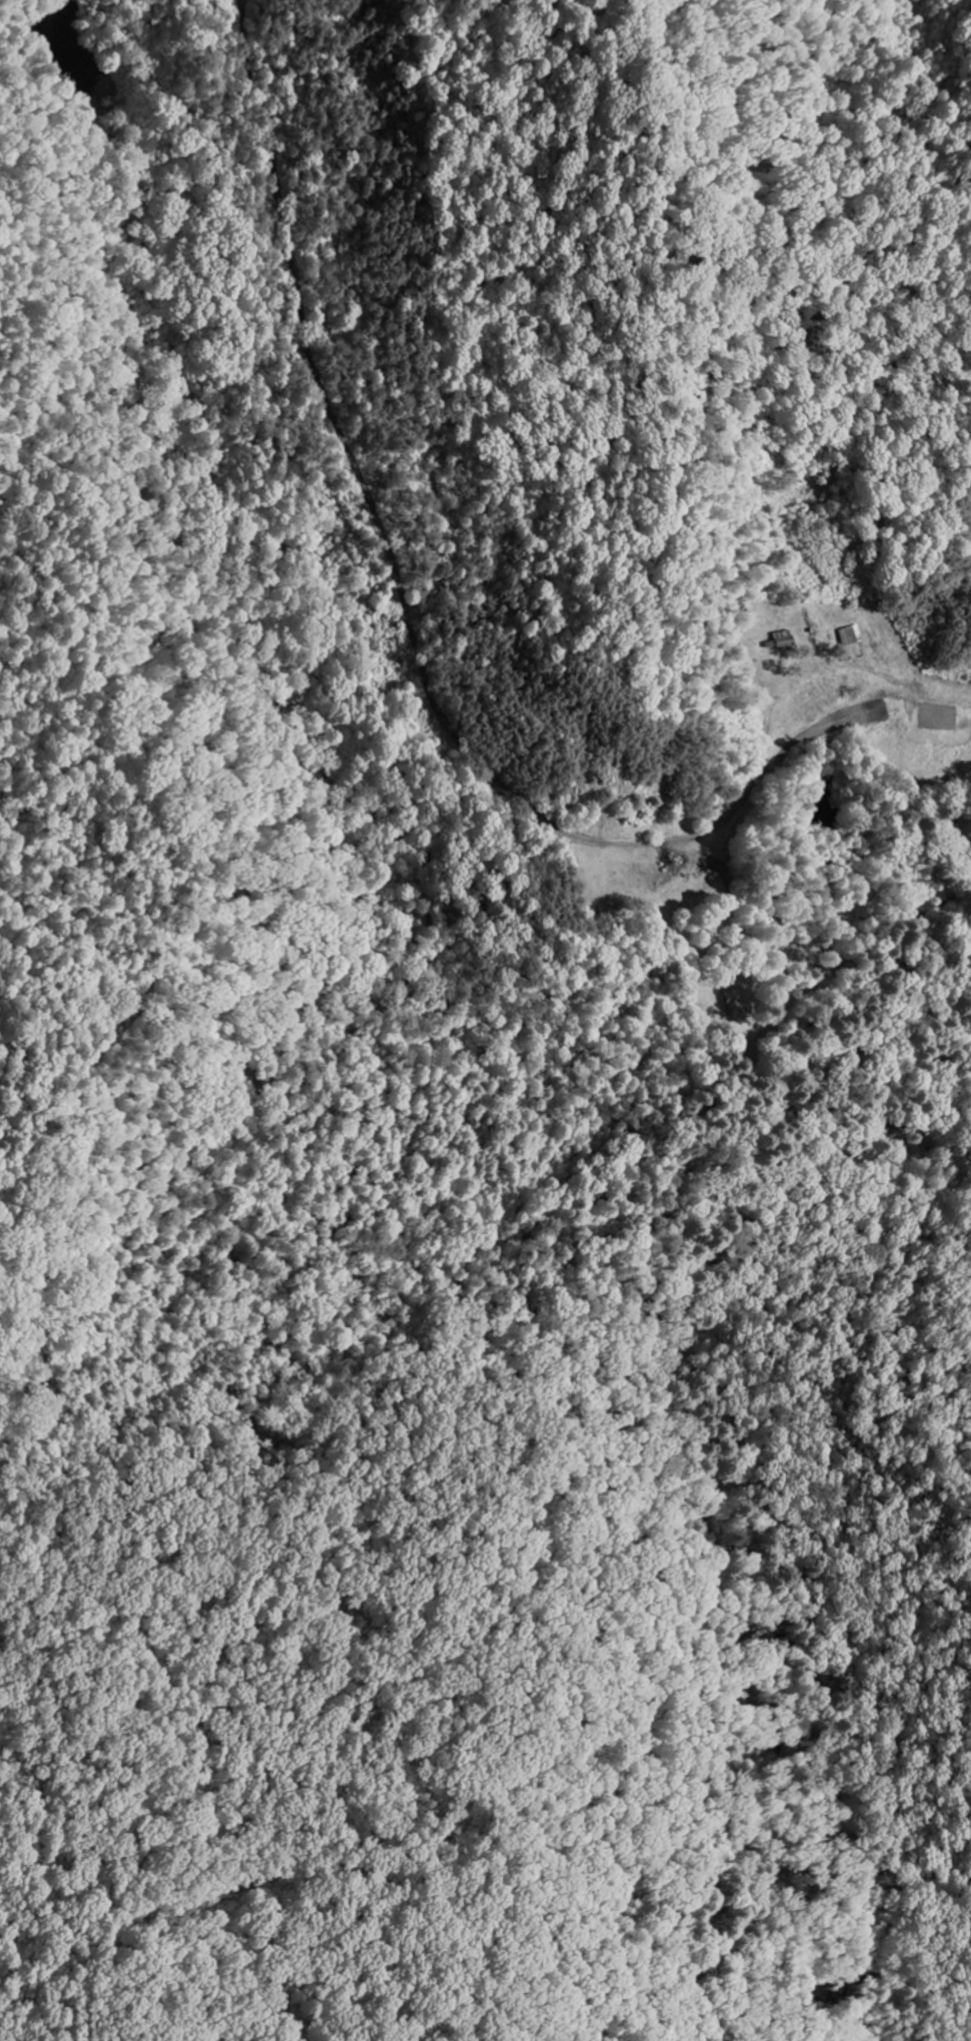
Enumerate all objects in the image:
building: (782, 639)
building: (736, 1001)

